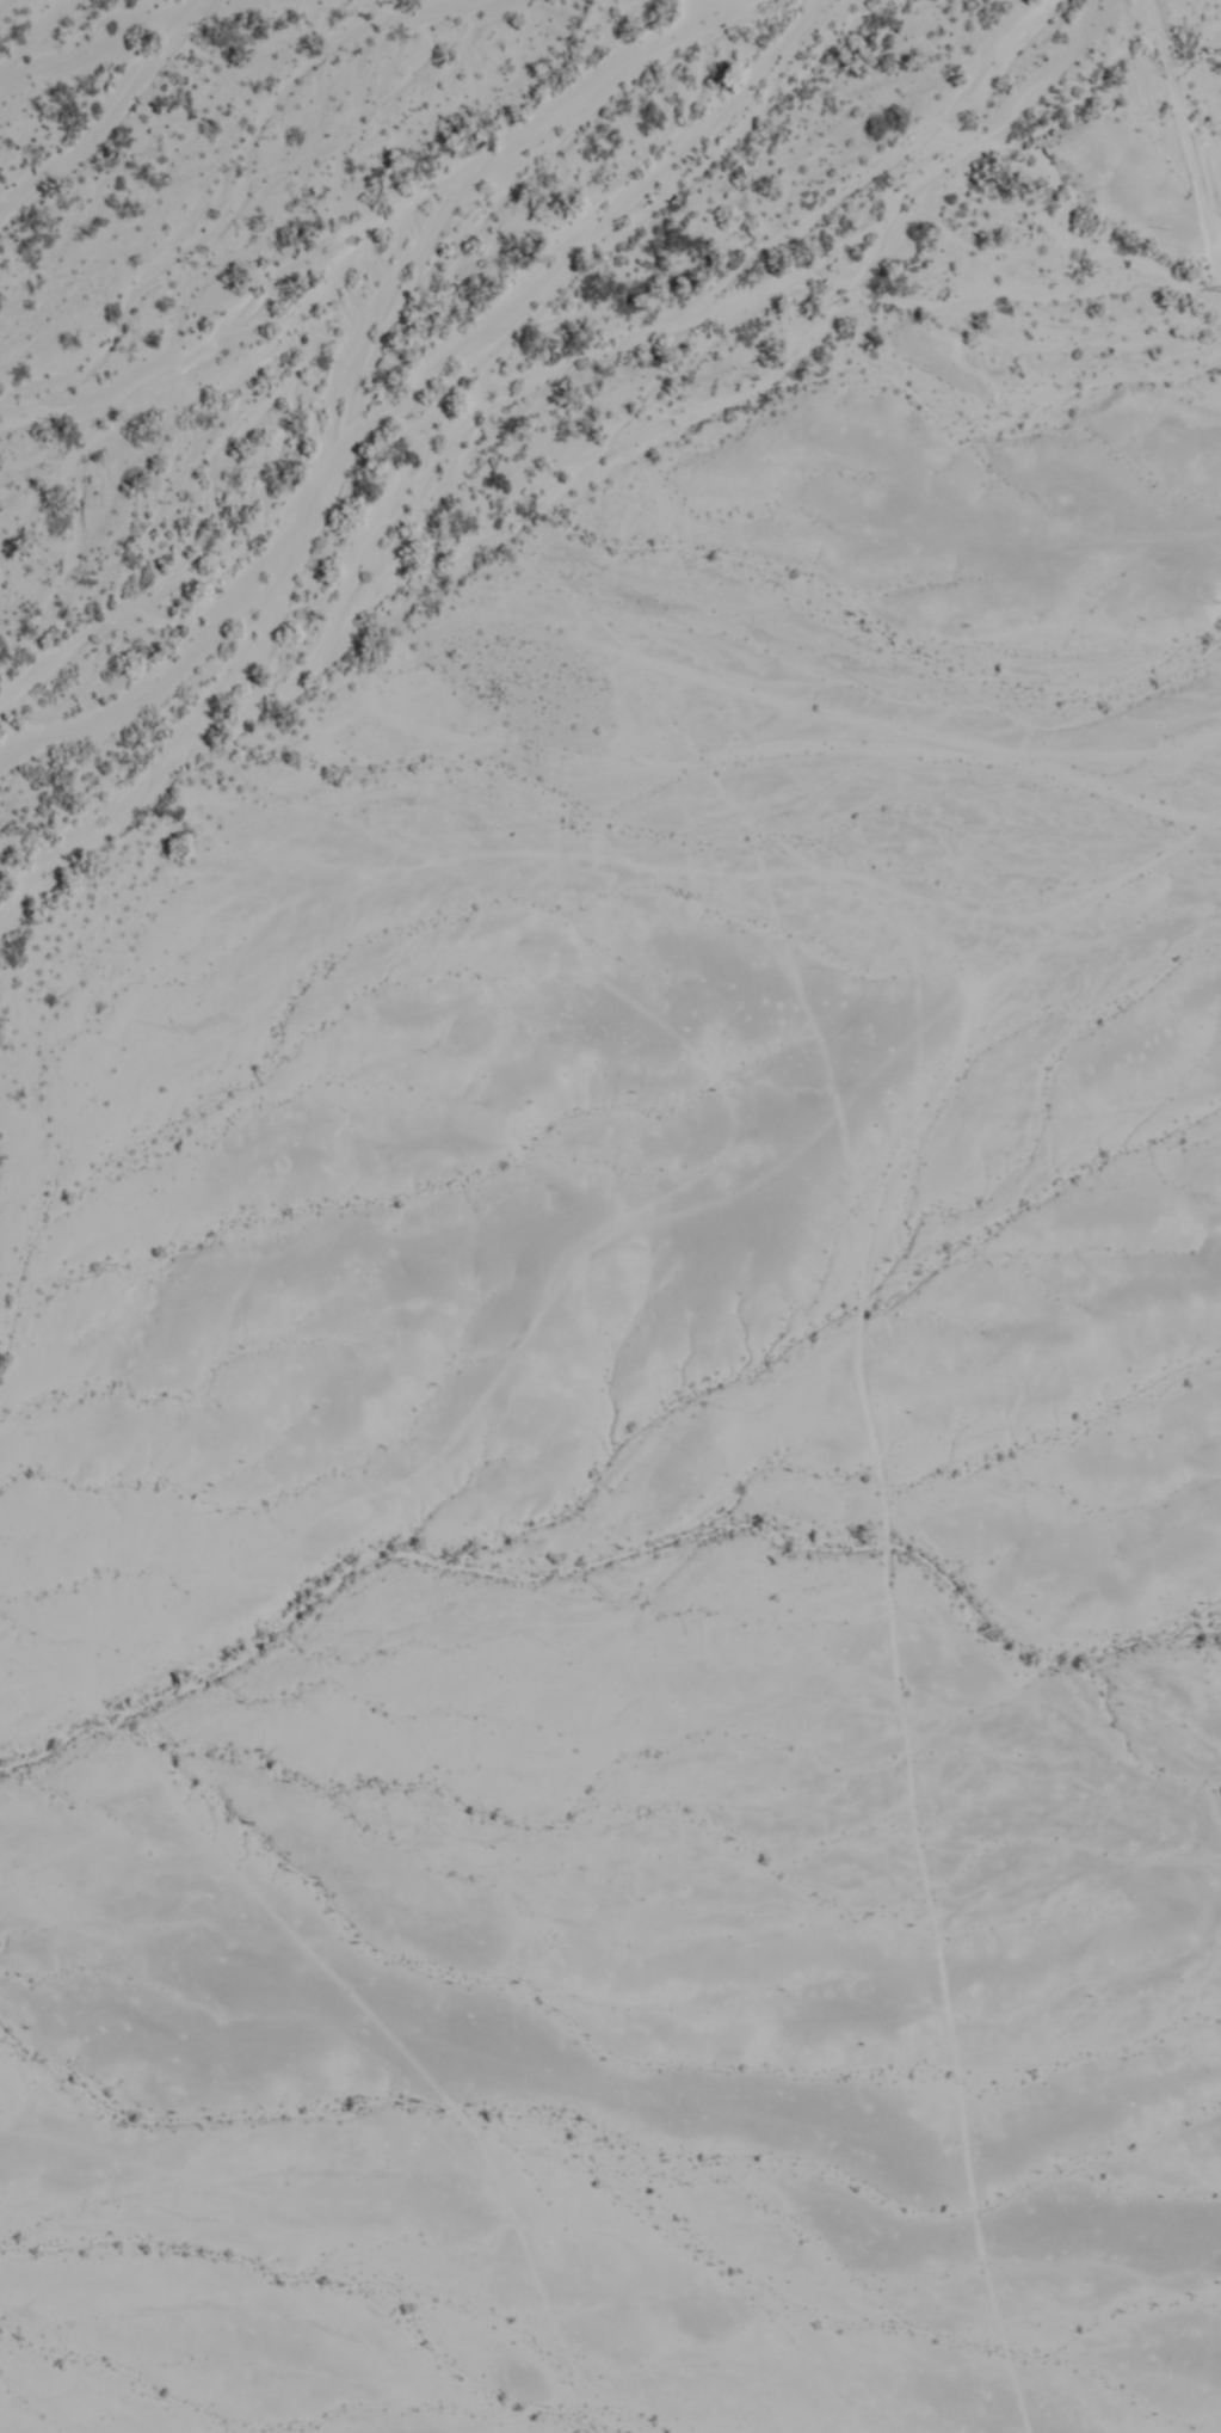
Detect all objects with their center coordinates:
road: (1183, 152)

